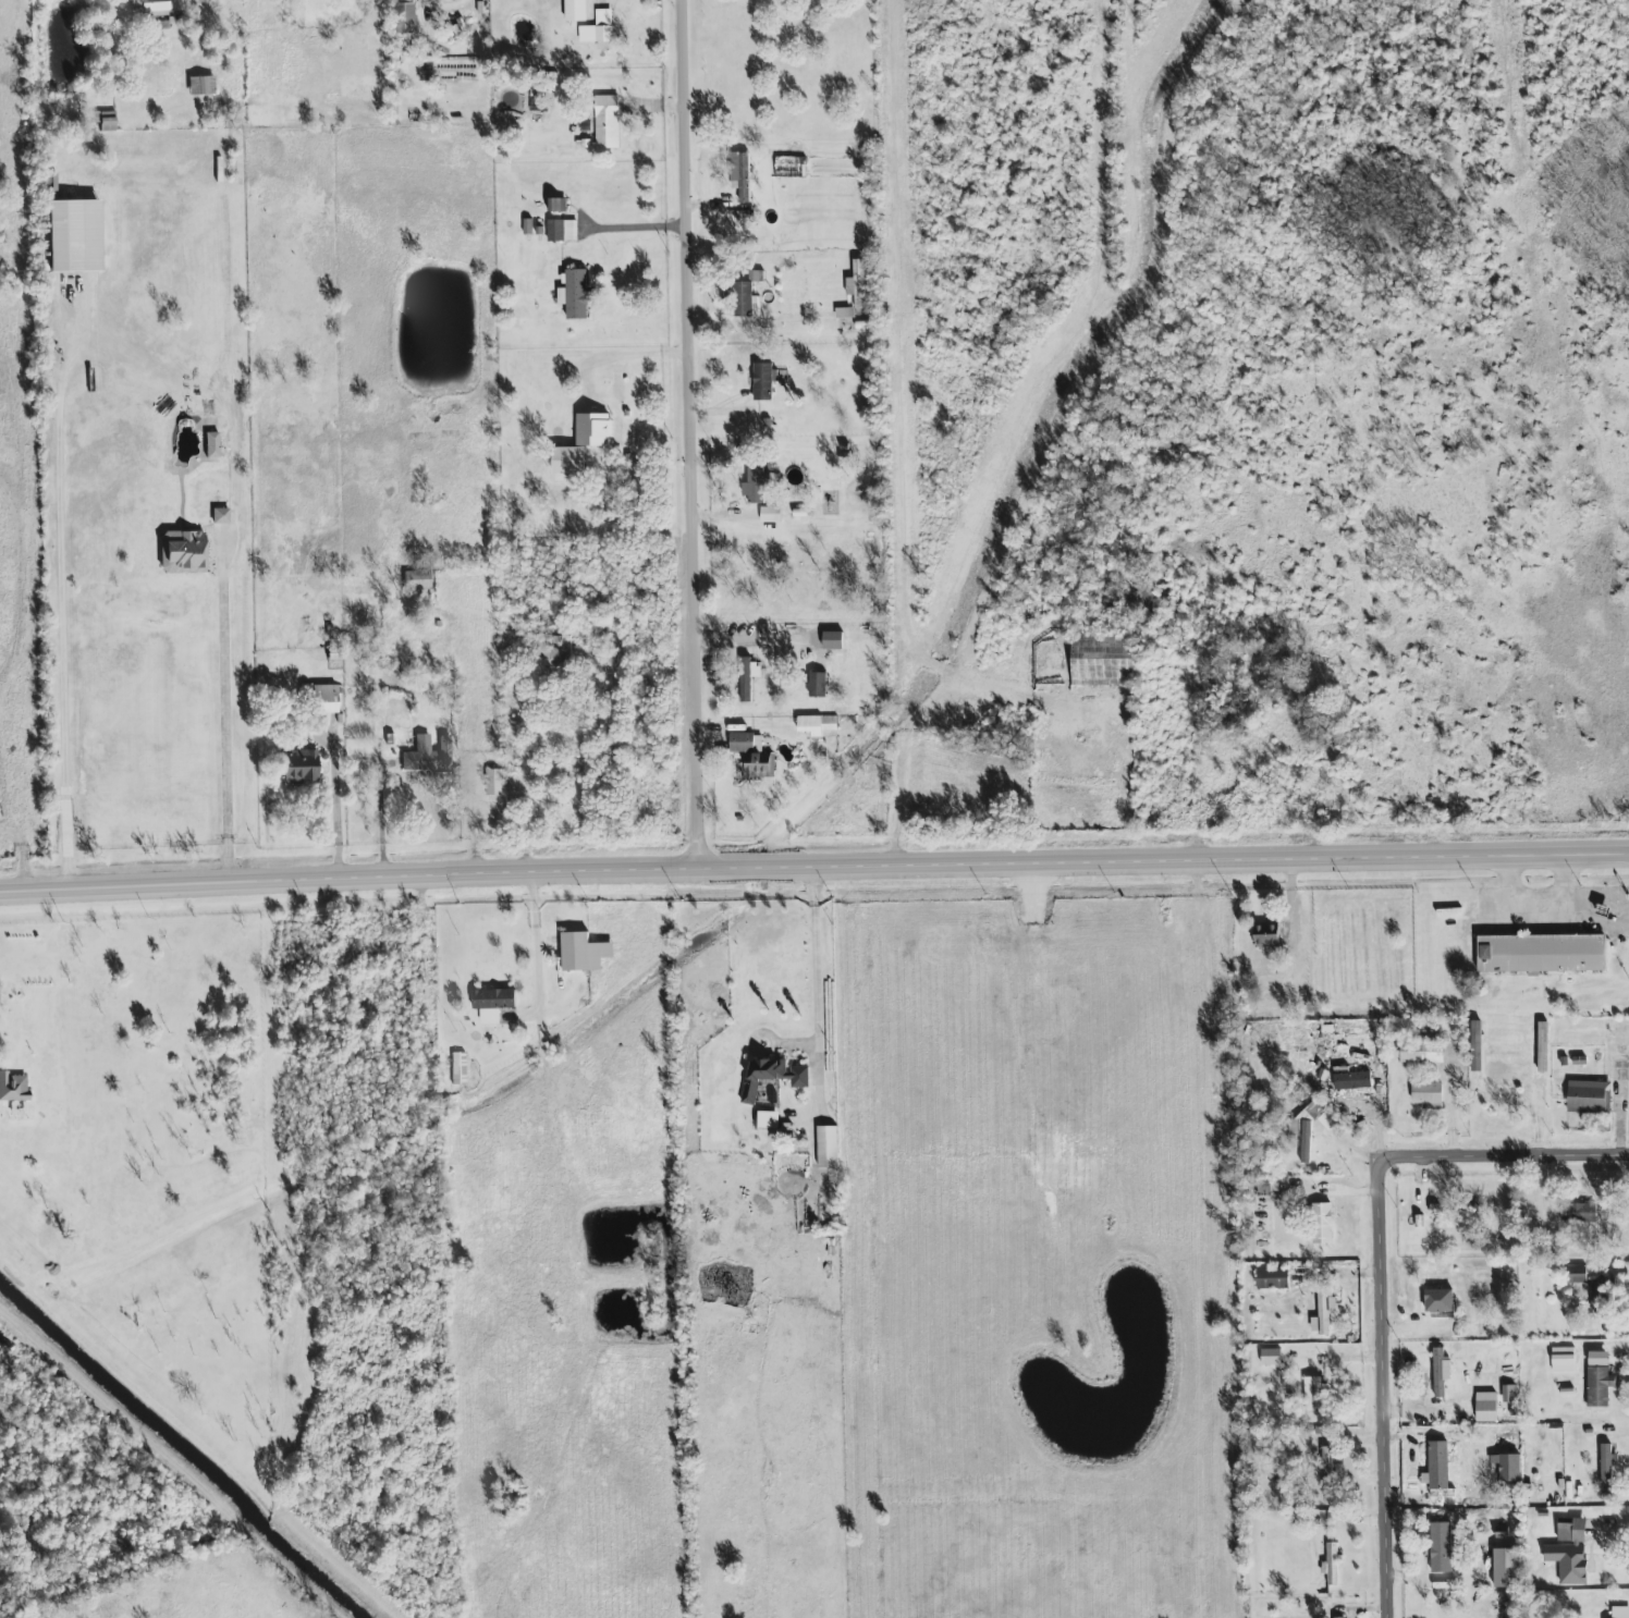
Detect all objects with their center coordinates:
building: (404, 1)
building: (150, 8)
building: (575, 11)
building: (598, 29)
building: (200, 85)
building: (106, 121)
building: (605, 122)
building: (743, 177)
building: (555, 204)
building: (561, 230)
building: (72, 234)
building: (755, 275)
building: (855, 284)
building: (743, 299)
building: (844, 312)
building: (763, 380)
road: (899, 383)
building: (592, 429)
road: (694, 437)
building: (567, 459)
building: (757, 485)
building: (219, 513)
building: (769, 513)
building: (182, 551)
building: (415, 579)
road: (69, 601)
building: (555, 650)
building: (1101, 660)
building: (817, 684)
building: (745, 689)
building: (319, 700)
road: (225, 712)
building: (817, 726)
building: (427, 755)
building: (750, 755)
building: (298, 765)
building: (493, 782)
road: (339, 810)
road: (813, 872)
road: (1557, 884)
road: (1538, 914)
building: (1266, 935)
building: (583, 953)
building: (1542, 953)
road: (542, 960)
road: (818, 963)
building: (491, 1004)
building: (1422, 1052)
building: (458, 1067)
building: (771, 1076)
building: (1351, 1080)
building: (12, 1087)
building: (1428, 1094)
building: (1589, 1096)
building: (1503, 1098)
building: (1320, 1116)
building: (767, 1120)
building: (1305, 1141)
building: (826, 1147)
building: (1436, 1209)
building: (1580, 1212)
building: (1321, 1224)
road: (1385, 1268)
building: (1577, 1274)
building: (1272, 1278)
building: (1600, 1290)
building: (1438, 1298)
building: (1270, 1357)
building: (1561, 1359)
building: (1597, 1359)
building: (1440, 1372)
building: (1599, 1386)
building: (1313, 1393)
building: (1508, 1394)
building: (1485, 1407)
road: (201, 1437)
building: (1330, 1461)
road: (174, 1463)
building: (1506, 1468)
building: (1606, 1468)
building: (1501, 1531)
building: (1440, 1546)
building: (1569, 1550)
building: (1608, 1556)
building: (1330, 1564)
building: (1505, 1567)
building: (1619, 1611)
building: (1339, 1617)

